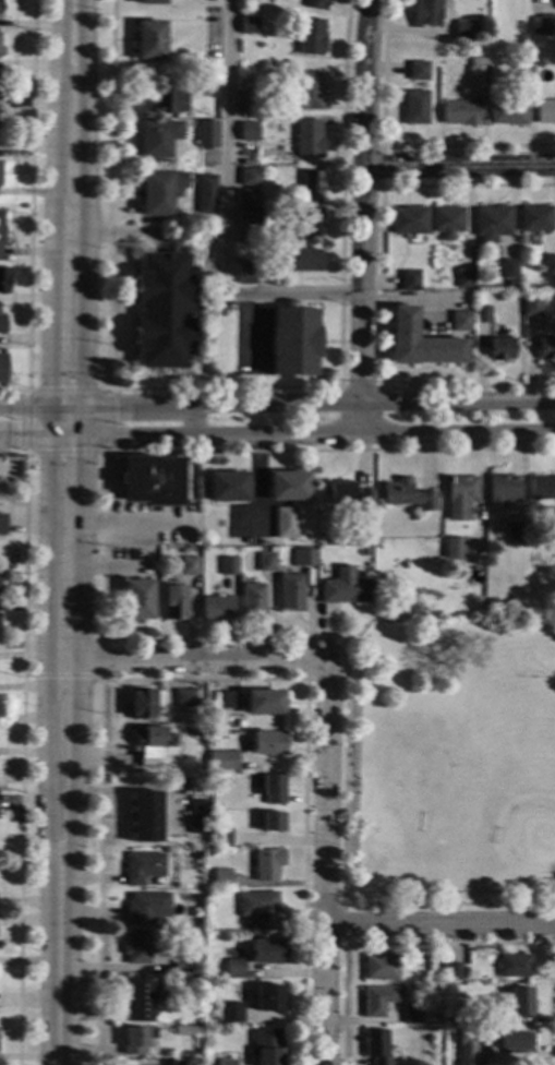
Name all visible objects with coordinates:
building: (148, 2)
building: (315, 4)
building: (425, 13)
road: (73, 16)
building: (248, 25)
building: (542, 25)
building: (463, 31)
building: (479, 33)
building: (310, 37)
building: (148, 40)
building: (479, 49)
building: (417, 71)
building: (476, 75)
building: (523, 76)
building: (206, 87)
building: (309, 91)
building: (248, 99)
building: (169, 100)
building: (414, 107)
building: (545, 111)
building: (507, 112)
building: (459, 113)
building: (248, 132)
building: (206, 134)
building: (156, 137)
building: (307, 139)
road: (394, 145)
road: (381, 167)
road: (458, 168)
building: (248, 177)
building: (311, 184)
building: (158, 192)
building: (205, 195)
building: (248, 196)
road: (29, 208)
road: (226, 213)
building: (249, 216)
road: (361, 216)
road: (55, 218)
building: (534, 219)
building: (311, 222)
building: (408, 222)
building: (446, 222)
building: (492, 223)
building: (1, 230)
road: (133, 234)
building: (300, 260)
parking lot: (208, 262)
building: (550, 265)
building: (508, 270)
building: (245, 274)
building: (4, 278)
building: (463, 279)
building: (409, 282)
building: (511, 284)
road: (378, 288)
road: (192, 295)
road: (131, 306)
building: (531, 306)
building: (161, 311)
building: (481, 314)
building: (460, 322)
building: (1, 325)
building: (293, 342)
building: (420, 343)
building: (499, 349)
building: (546, 349)
road: (36, 364)
building: (1, 368)
traffic signals: (52, 384)
road: (358, 387)
road: (220, 388)
road: (277, 405)
traffic signals: (116, 408)
road: (189, 421)
road: (277, 434)
traffic signals: (16, 436)
road: (104, 451)
road: (84, 452)
traffic signals: (84, 457)
building: (150, 481)
building: (288, 486)
building: (228, 487)
building: (542, 488)
building: (503, 489)
building: (340, 494)
building: (407, 495)
building: (461, 498)
building: (363, 502)
building: (286, 523)
building: (1, 526)
building: (517, 532)
building: (552, 536)
building: (455, 549)
building: (366, 552)
building: (304, 559)
building: (266, 563)
building: (188, 566)
building: (228, 566)
building: (345, 588)
building: (290, 593)
building: (137, 600)
building: (252, 602)
building: (173, 603)
building: (216, 609)
road: (48, 641)
road: (134, 641)
road: (99, 659)
road: (185, 660)
road: (62, 675)
road: (203, 680)
road: (325, 680)
building: (183, 698)
building: (226, 701)
building: (263, 703)
building: (141, 705)
building: (195, 732)
building: (268, 743)
road: (22, 745)
building: (150, 745)
building: (221, 762)
building: (273, 790)
park: (478, 790)
building: (144, 816)
building: (197, 816)
building: (272, 822)
building: (220, 837)
building: (266, 865)
road: (325, 865)
building: (142, 867)
building: (221, 877)
building: (207, 894)
road: (342, 905)
building: (146, 908)
building: (261, 910)
road: (439, 925)
road: (550, 926)
road: (446, 944)
building: (136, 947)
building: (266, 952)
building: (181, 959)
building: (233, 965)
building: (442, 965)
building: (514, 966)
road: (58, 968)
building: (379, 968)
building: (455, 972)
building: (267, 998)
building: (138, 1000)
building: (376, 1001)
building: (519, 1002)
building: (230, 1013)
building: (411, 1014)
building: (481, 1014)
building: (436, 1017)
building: (133, 1041)
building: (511, 1041)
building: (265, 1046)
building: (466, 1046)
building: (374, 1048)
building: (225, 1062)
building: (179, 1063)

